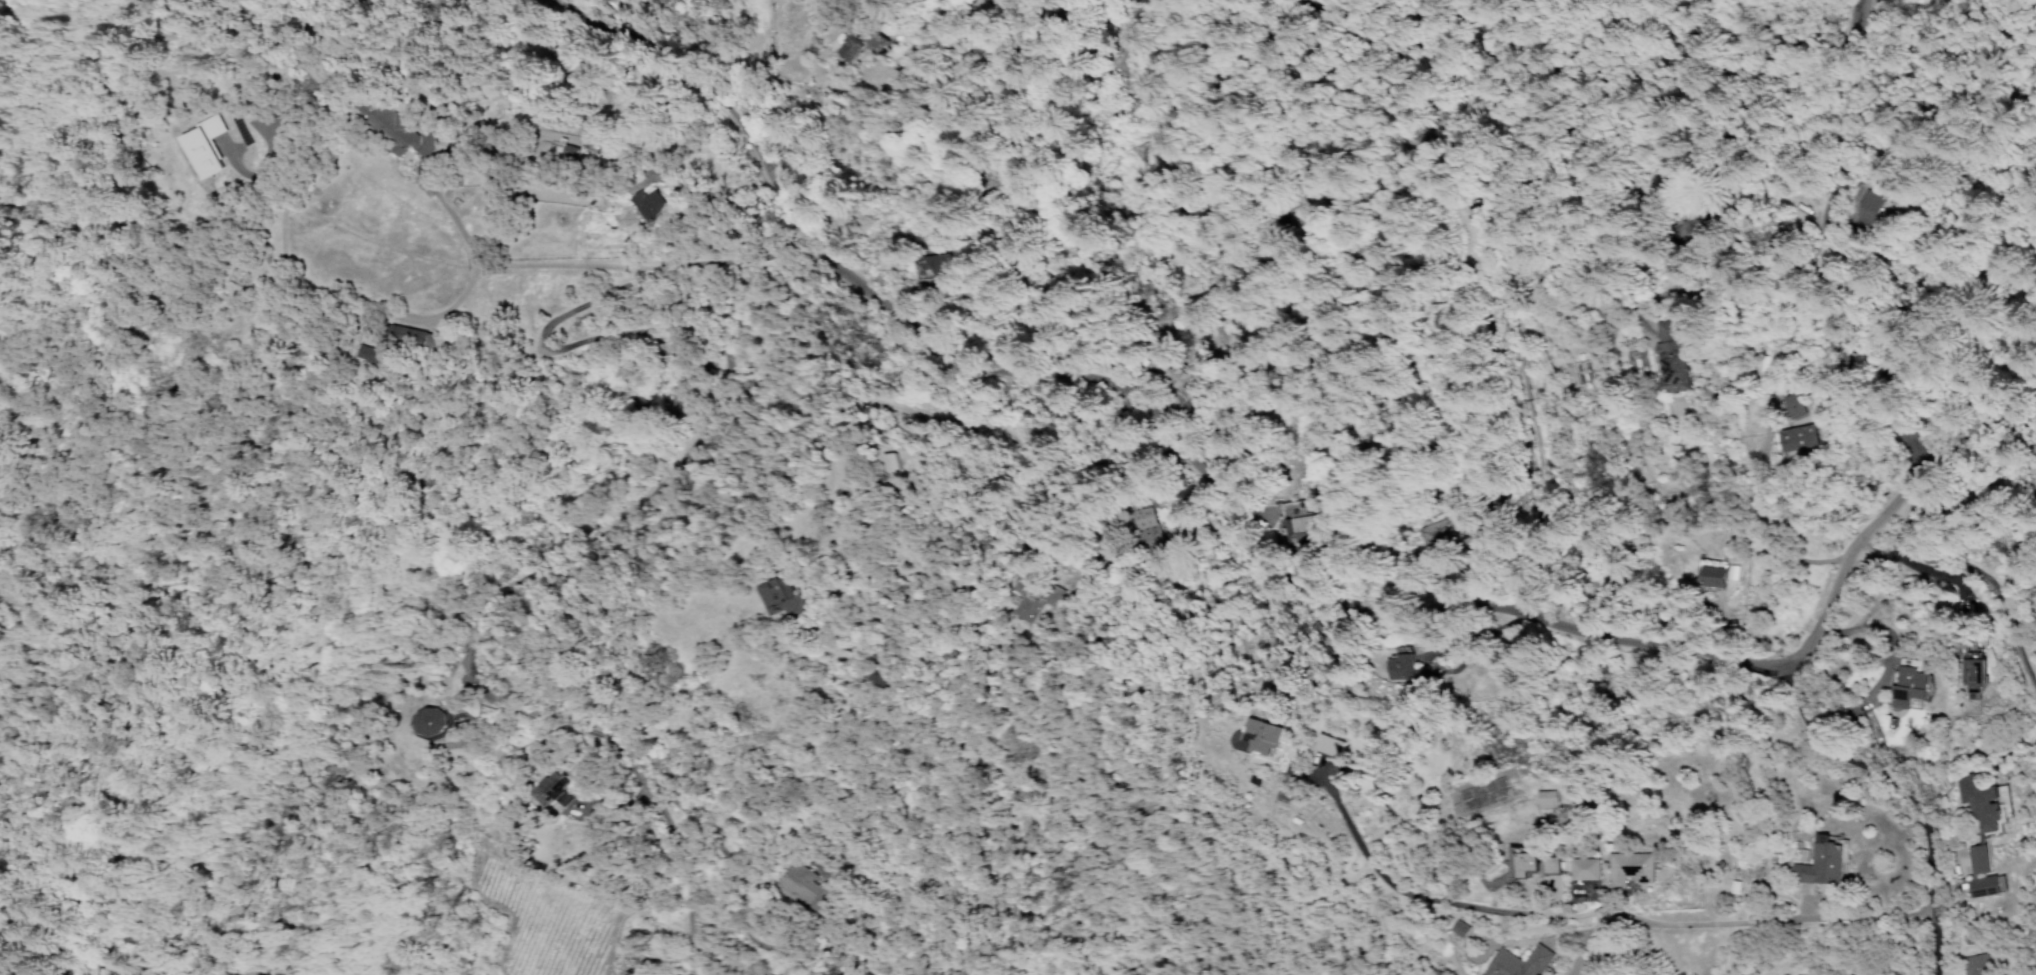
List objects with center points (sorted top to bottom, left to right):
building: (859, 43)
building: (391, 129)
road: (457, 136)
building: (202, 146)
building: (566, 153)
building: (647, 204)
building: (1864, 207)
building: (412, 337)
building: (368, 353)
building: (1669, 358)
road: (1053, 370)
building: (1165, 372)
building: (1789, 405)
road: (1899, 431)
road: (1066, 432)
building: (1797, 438)
road: (948, 486)
road: (616, 502)
building: (1136, 518)
building: (1299, 529)
road: (789, 552)
building: (1710, 574)
road: (1973, 576)
building: (778, 598)
building: (1026, 601)
road: (1222, 602)
crop: (1147, 626)
building: (1395, 663)
building: (1972, 674)
building: (1907, 685)
building: (429, 722)
building: (1259, 735)
building: (1327, 744)
road: (1907, 788)
building: (550, 789)
park: (1476, 797)
building: (1545, 799)
building: (1979, 818)
building: (1818, 862)
building: (1521, 863)
building: (1544, 864)
building: (1625, 867)
building: (1580, 868)
building: (796, 882)
building: (1983, 886)
road: (1962, 903)
building: (1455, 926)
road: (1584, 927)
building: (1516, 962)
building: (1976, 964)

